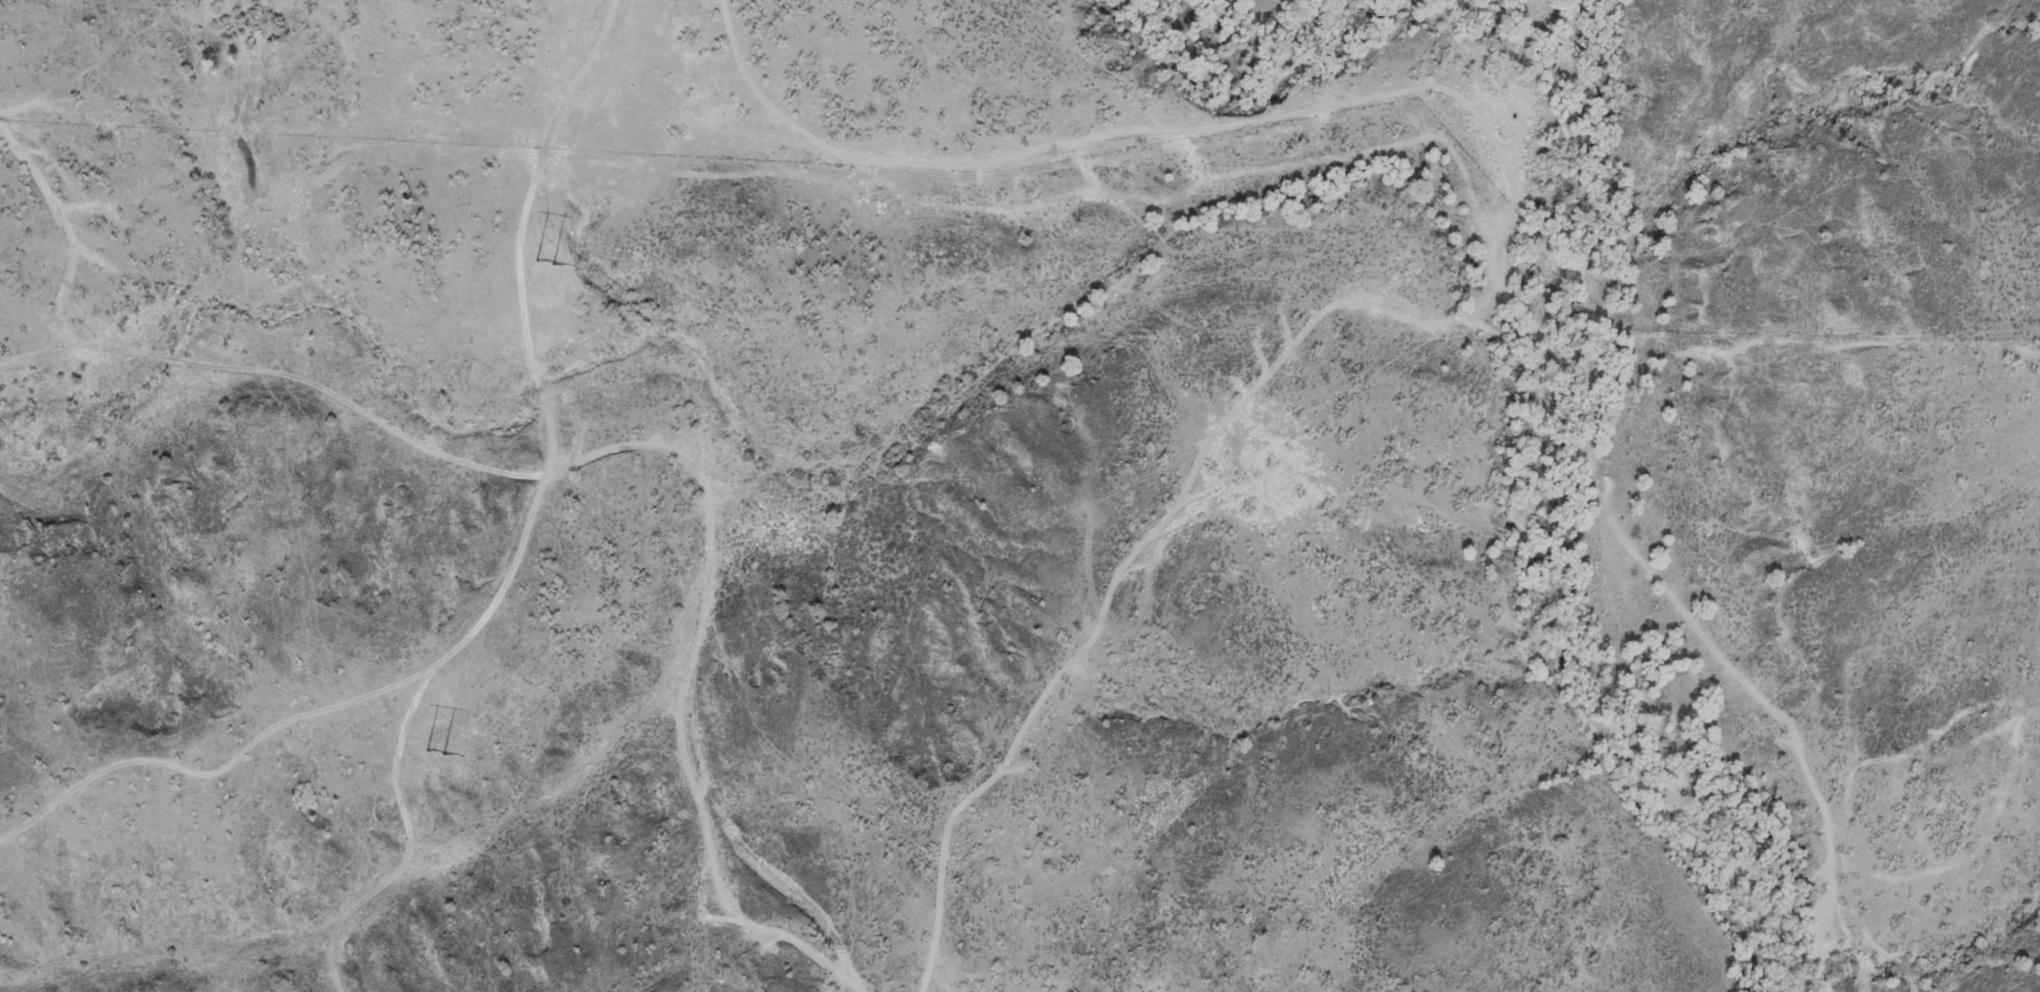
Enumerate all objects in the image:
power tower: (546, 260)
road: (556, 467)
power tower: (437, 754)

